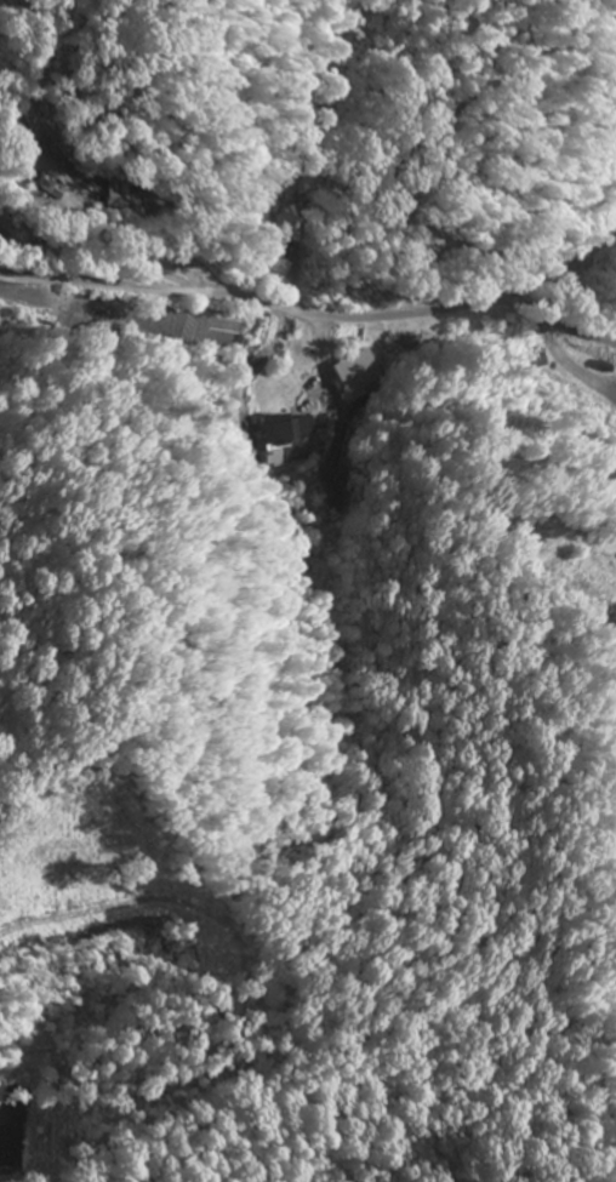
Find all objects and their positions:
building: (49, 184)
building: (2, 235)
building: (284, 244)
road: (310, 309)
building: (358, 375)
building: (286, 438)

